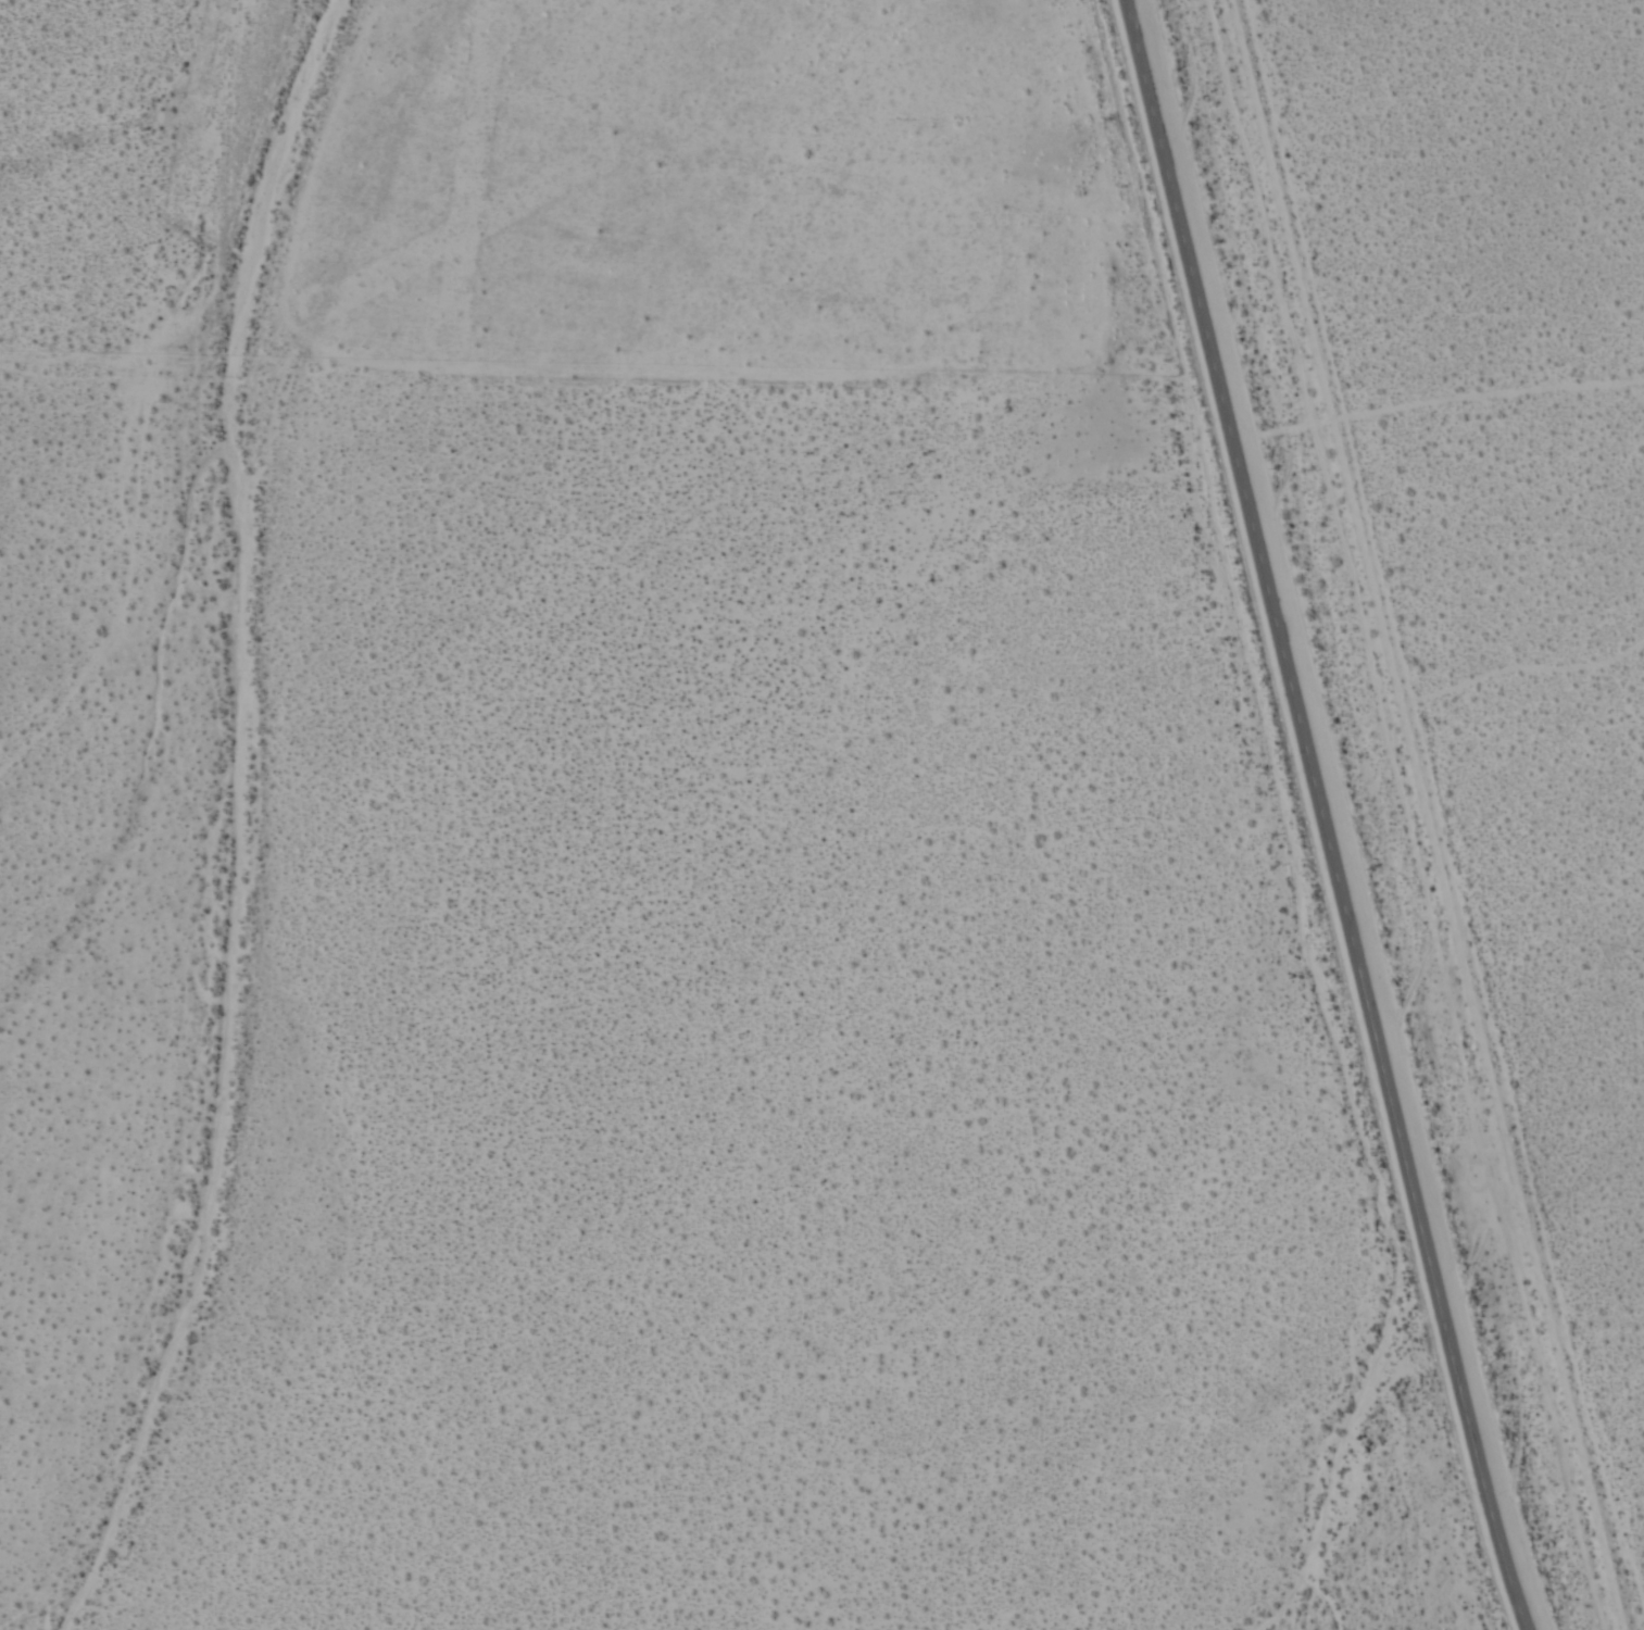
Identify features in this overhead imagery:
road: (1322, 816)

